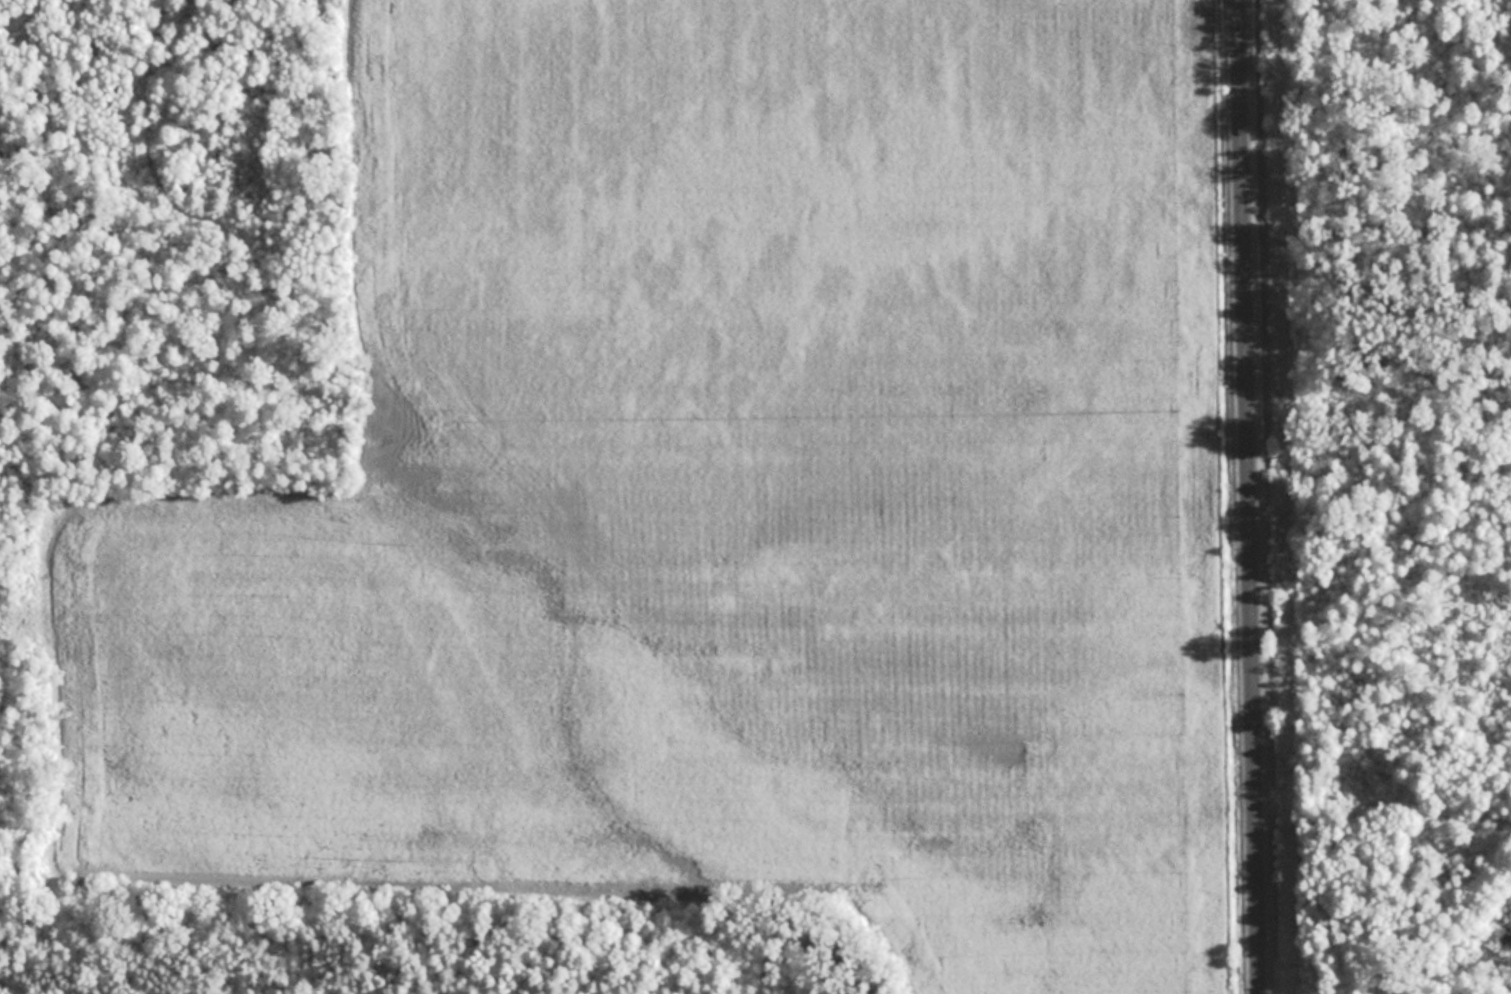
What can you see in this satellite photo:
road: (1247, 497)

